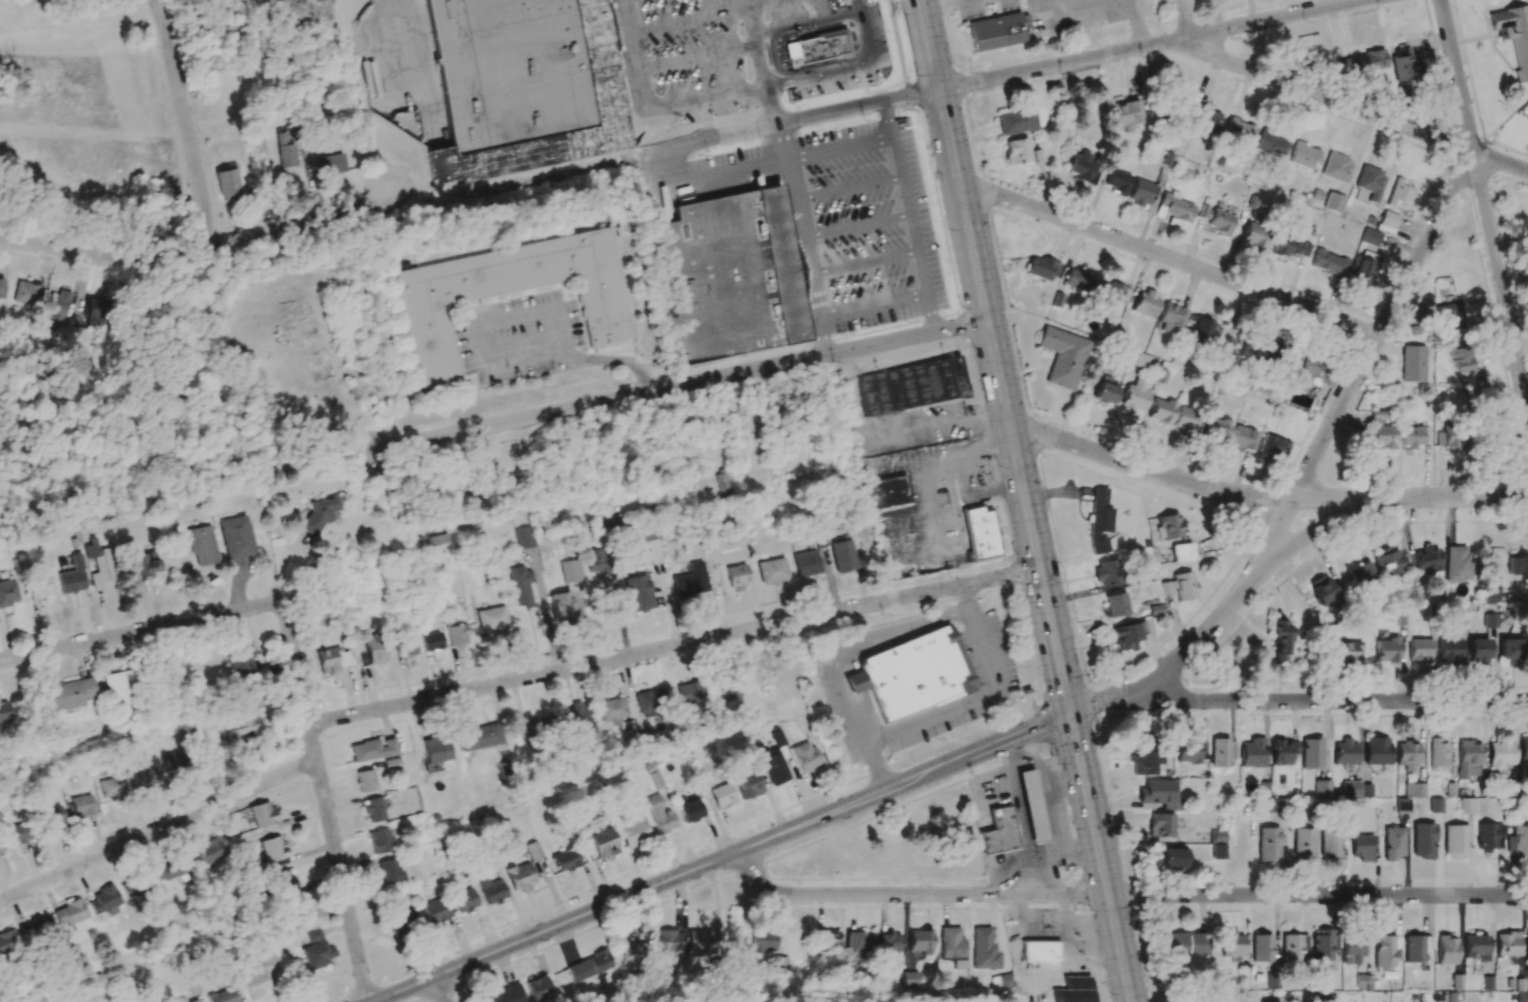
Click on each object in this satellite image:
road: (1071, 1)
road: (939, 4)
road: (706, 15)
road: (1185, 18)
road: (1137, 23)
building: (998, 31)
building: (442, 32)
building: (1514, 34)
road: (1151, 44)
road: (384, 47)
road: (773, 47)
building: (817, 48)
road: (697, 57)
building: (1372, 60)
road: (761, 63)
building: (1401, 64)
building: (1348, 67)
road: (735, 91)
building: (603, 92)
road: (1356, 107)
building: (1126, 114)
building: (1204, 119)
road: (891, 120)
building: (1021, 120)
road: (184, 121)
road: (782, 124)
building: (1239, 130)
building: (1271, 143)
road: (864, 145)
building: (285, 150)
building: (1016, 150)
building: (1304, 155)
building: (328, 165)
building: (1082, 168)
building: (1337, 168)
building: (1117, 181)
building: (1370, 183)
building: (227, 184)
road: (847, 187)
building: (1141, 193)
building: (1400, 194)
building: (1334, 202)
road: (1483, 203)
building: (1174, 207)
building: (1216, 219)
building: (1389, 219)
road: (855, 227)
building: (1254, 236)
building: (1370, 237)
road: (800, 240)
road: (200, 246)
building: (1290, 247)
road: (1167, 259)
road: (863, 262)
building: (1329, 262)
building: (1042, 268)
building: (1361, 271)
building: (732, 276)
building: (1080, 280)
building: (1, 288)
building: (1112, 292)
building: (27, 293)
building: (1146, 303)
building: (60, 305)
road: (872, 307)
building: (99, 312)
building: (1171, 317)
building: (1449, 317)
building: (427, 321)
road: (1381, 326)
building: (1199, 330)
building: (1254, 350)
road: (995, 356)
building: (1063, 357)
building: (1138, 359)
building: (1288, 359)
building: (1460, 359)
road: (489, 363)
building: (1413, 367)
building: (1309, 373)
road: (678, 385)
building: (913, 385)
building: (1105, 390)
building: (1135, 397)
building: (1161, 411)
building: (1186, 421)
road: (936, 428)
building: (1217, 429)
building: (1413, 436)
building: (1449, 437)
building: (1243, 438)
building: (749, 442)
building: (1272, 448)
road: (1151, 472)
building: (720, 483)
building: (887, 492)
road: (1455, 498)
road: (1304, 504)
building: (320, 513)
building: (1099, 521)
building: (1169, 526)
road: (1319, 528)
building: (435, 534)
building: (980, 534)
building: (236, 537)
building: (524, 537)
building: (202, 545)
building: (1182, 552)
building: (842, 555)
building: (1427, 560)
building: (598, 561)
building: (1388, 562)
building: (806, 563)
building: (1458, 563)
building: (98, 564)
building: (143, 564)
building: (1517, 565)
building: (571, 570)
building: (773, 571)
building: (1107, 572)
building: (1362, 575)
building: (737, 576)
building: (70, 577)
building: (692, 583)
building: (520, 585)
building: (1180, 586)
building: (36, 587)
building: (1323, 591)
building: (7, 593)
building: (1492, 593)
building: (640, 598)
road: (669, 603)
building: (1116, 605)
building: (562, 608)
building: (1506, 617)
building: (494, 619)
building: (1490, 620)
road: (1206, 628)
road: (140, 631)
building: (457, 633)
building: (1128, 636)
building: (432, 640)
building: (1280, 640)
road: (858, 645)
building: (405, 646)
building: (374, 648)
building: (1387, 650)
building: (1345, 651)
building: (1419, 651)
building: (1449, 651)
building: (1510, 651)
building: (1478, 653)
building: (333, 660)
building: (240, 661)
building: (914, 674)
road: (496, 684)
building: (119, 688)
building: (68, 693)
building: (689, 693)
road: (1110, 700)
building: (650, 702)
road: (1340, 702)
road: (959, 704)
building: (611, 709)
building: (3, 711)
traffic signals: (1070, 713)
building: (577, 716)
building: (541, 726)
building: (242, 728)
building: (478, 737)
building: (372, 749)
building: (1376, 750)
building: (1523, 750)
building: (1190, 751)
building: (1283, 751)
building: (1501, 751)
building: (435, 752)
building: (1222, 752)
building: (1345, 752)
building: (1252, 753)
building: (1311, 753)
building: (1438, 754)
building: (1407, 755)
building: (805, 756)
building: (1468, 758)
building: (1147, 761)
building: (173, 762)
building: (773, 766)
road: (1048, 772)
building: (146, 778)
building: (366, 780)
building: (747, 784)
building: (112, 788)
building: (1322, 788)
building: (1351, 788)
building: (1414, 790)
building: (1160, 794)
building: (722, 795)
road: (325, 801)
building: (82, 805)
building: (1032, 805)
building: (1436, 805)
building: (1466, 805)
building: (1402, 806)
building: (373, 810)
building: (263, 815)
building: (659, 815)
building: (54, 816)
building: (1161, 824)
building: (1000, 831)
building: (634, 832)
building: (17, 833)
road: (1025, 833)
building: (1489, 836)
building: (381, 841)
building: (1423, 841)
building: (1456, 842)
building: (1518, 842)
building: (601, 843)
park: (889, 843)
building: (1330, 843)
building: (1392, 843)
building: (1218, 844)
building: (1268, 844)
building: (1303, 844)
building: (1361, 847)
building: (274, 850)
building: (533, 851)
building: (205, 852)
building: (0, 853)
road: (1101, 857)
building: (1170, 857)
road: (721, 859)
building: (565, 860)
building: (170, 868)
building: (389, 872)
building: (520, 877)
road: (1036, 877)
building: (284, 882)
building: (135, 885)
building: (492, 891)
road: (914, 894)
road: (1318, 895)
building: (104, 900)
building: (465, 900)
building: (436, 911)
building: (70, 915)
building: (401, 924)
building: (36, 928)
building: (828, 939)
building: (670, 940)
building: (920, 940)
building: (8, 941)
building: (764, 941)
building: (701, 942)
building: (889, 942)
building: (859, 943)
building: (1184, 944)
building: (1232, 944)
building: (1507, 944)
building: (1322, 945)
building: (953, 946)
building: (1476, 946)
building: (1527, 946)
building: (1261, 948)
building: (1291, 948)
building: (1384, 948)
building: (1416, 948)
building: (984, 949)
building: (317, 950)
building: (1446, 950)
building: (1352, 951)
building: (1039, 952)
building: (635, 955)
building: (267, 956)
building: (590, 966)
building: (911, 979)
building: (1002, 981)
building: (1363, 981)
building: (256, 984)
building: (539, 989)
building: (1075, 990)
road: (428, 994)
building: (508, 994)
building: (223, 996)
building: (1424, 996)
building: (1522, 996)
building: (180, 1000)
building: (194, 1001)

